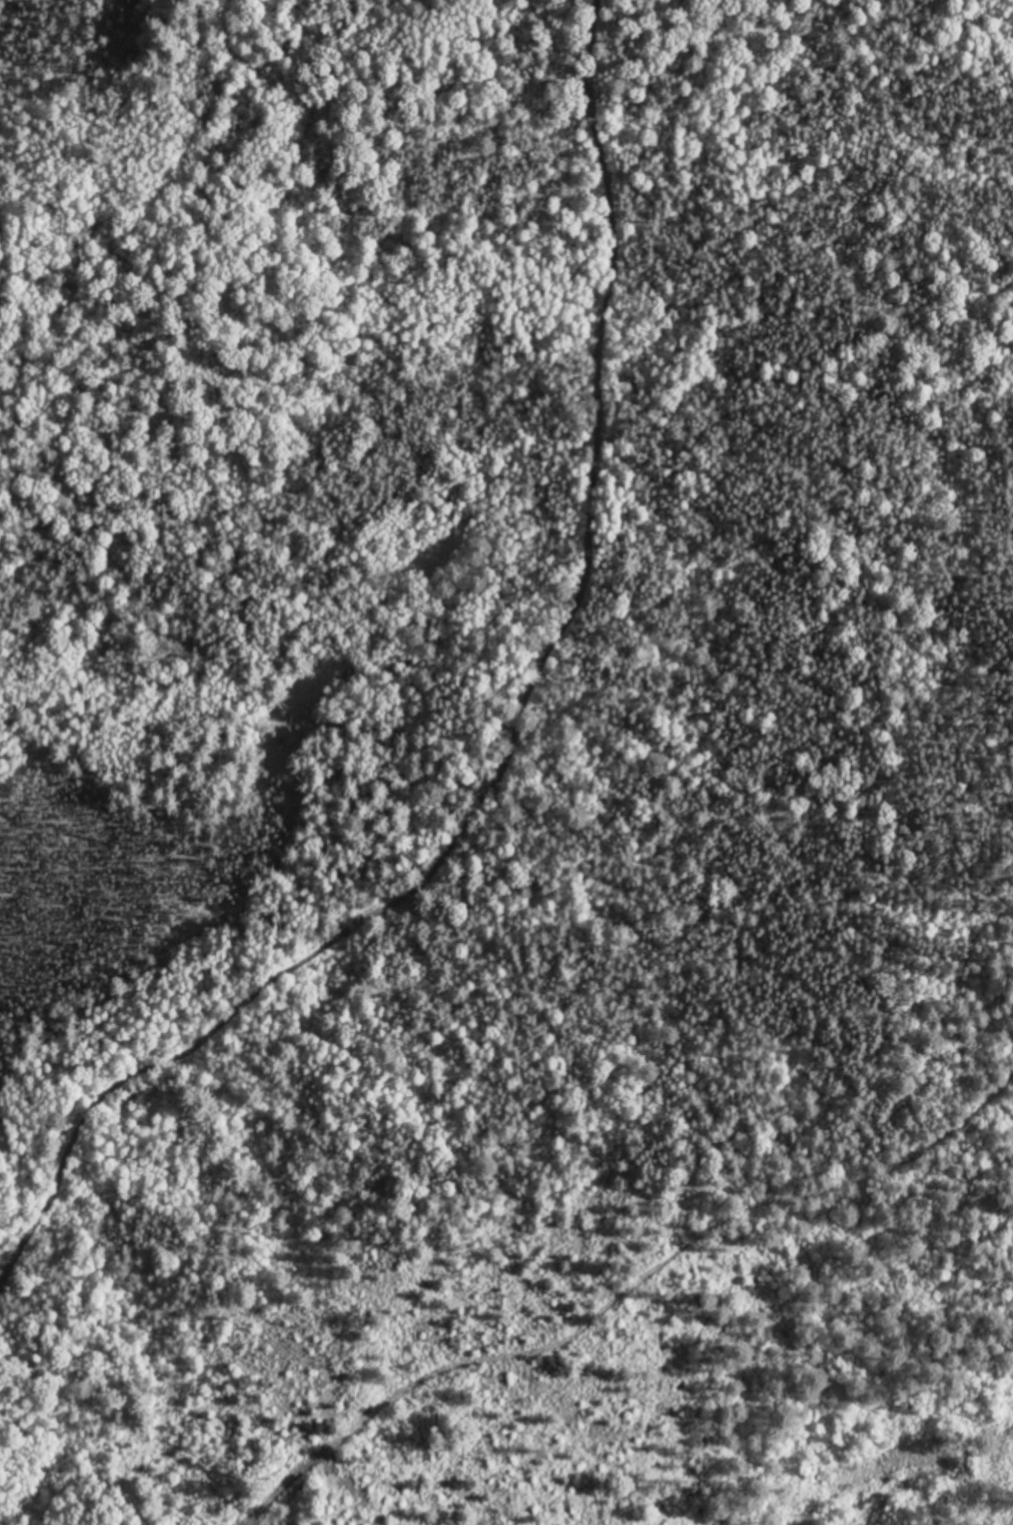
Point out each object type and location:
road: (487, 714)
road: (521, 1305)
road: (169, 1515)

